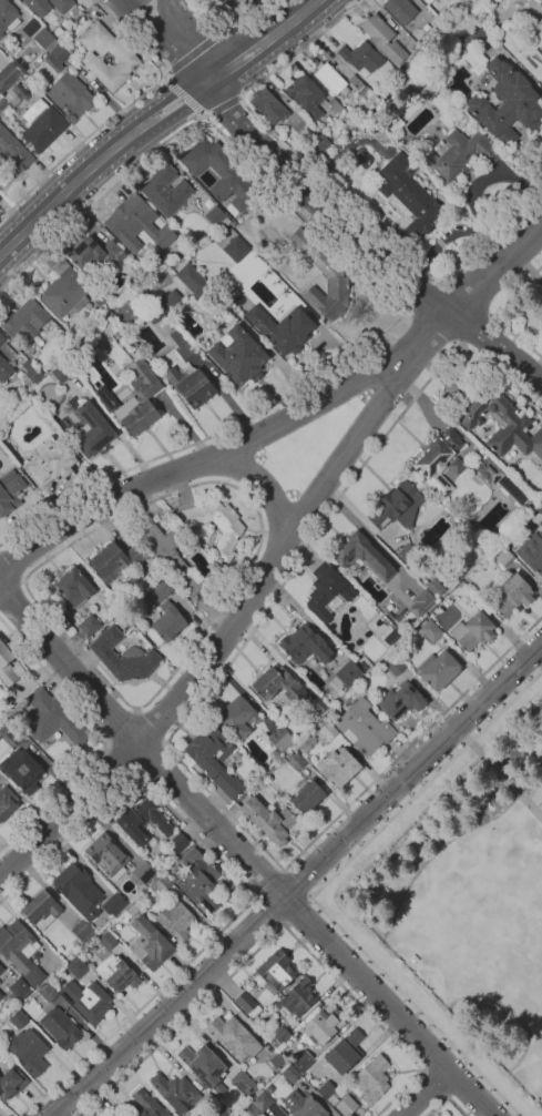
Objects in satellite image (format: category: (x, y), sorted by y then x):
road: (123, 0)
building: (224, 0)
building: (428, 1)
building: (61, 4)
building: (39, 7)
building: (400, 10)
building: (426, 11)
building: (8, 16)
road: (228, 28)
building: (428, 28)
road: (175, 29)
road: (222, 29)
building: (382, 38)
building: (44, 39)
road: (165, 44)
building: (525, 50)
road: (192, 54)
building: (418, 54)
building: (57, 57)
building: (125, 57)
building: (361, 58)
building: (20, 64)
building: (8, 75)
road: (163, 77)
building: (330, 78)
building: (358, 85)
building: (419, 87)
building: (500, 92)
building: (71, 94)
building: (305, 95)
road: (184, 97)
road: (239, 98)
building: (268, 105)
building: (334, 105)
road: (222, 106)
road: (120, 113)
road: (205, 116)
road: (152, 120)
building: (393, 122)
building: (42, 128)
building: (336, 141)
building: (319, 143)
building: (14, 151)
building: (458, 155)
building: (219, 173)
road: (330, 189)
building: (165, 190)
building: (407, 197)
building: (208, 203)
building: (215, 215)
building: (136, 224)
building: (300, 239)
road: (364, 245)
building: (234, 247)
building: (95, 253)
building: (192, 280)
road: (375, 284)
building: (329, 288)
building: (64, 291)
road: (420, 294)
road: (464, 297)
building: (143, 298)
building: (99, 300)
building: (168, 301)
building: (154, 314)
road: (492, 315)
building: (24, 319)
road: (431, 327)
building: (282, 328)
road: (474, 331)
building: (1, 338)
building: (182, 346)
building: (239, 356)
building: (4, 369)
building: (31, 371)
building: (62, 372)
road: (500, 377)
building: (191, 385)
building: (139, 399)
building: (502, 423)
building: (91, 430)
building: (438, 460)
road: (197, 461)
building: (51, 463)
building: (456, 465)
road: (224, 467)
building: (500, 479)
building: (10, 491)
building: (397, 506)
road: (280, 519)
building: (216, 525)
road: (309, 542)
building: (532, 551)
road: (278, 552)
building: (405, 554)
building: (171, 555)
building: (365, 556)
building: (502, 556)
building: (114, 560)
road: (12, 568)
road: (241, 576)
building: (73, 587)
building: (431, 588)
road: (11, 591)
building: (157, 591)
building: (327, 591)
building: (512, 596)
building: (166, 601)
building: (419, 602)
building: (471, 620)
building: (168, 621)
building: (89, 625)
building: (430, 631)
building: (390, 637)
building: (305, 645)
building: (122, 657)
building: (395, 666)
building: (6, 667)
building: (362, 667)
building: (438, 669)
building: (348, 673)
building: (277, 683)
building: (401, 701)
building: (316, 707)
building: (262, 708)
building: (237, 717)
building: (52, 719)
road: (121, 726)
road: (152, 726)
building: (364, 727)
building: (328, 731)
building: (16, 735)
road: (102, 738)
building: (280, 739)
road: (117, 759)
building: (214, 759)
road: (153, 761)
building: (296, 761)
building: (337, 767)
building: (22, 770)
road: (505, 780)
building: (260, 783)
building: (308, 799)
building: (7, 802)
road: (351, 803)
building: (269, 820)
building: (142, 821)
building: (177, 842)
building: (106, 853)
road: (241, 855)
building: (142, 873)
building: (200, 880)
road: (269, 882)
road: (297, 882)
building: (161, 883)
road: (244, 883)
road: (301, 885)
road: (315, 887)
building: (79, 889)
park: (464, 897)
building: (115, 904)
building: (41, 910)
building: (132, 910)
road: (268, 910)
road: (297, 911)
building: (176, 920)
road: (276, 929)
building: (83, 930)
building: (108, 941)
building: (149, 943)
building: (20, 950)
building: (78, 967)
building: (1, 968)
building: (276, 971)
building: (117, 973)
building: (20, 987)
building: (48, 992)
building: (1, 996)
building: (298, 996)
building: (88, 1000)
building: (247, 1004)
building: (19, 1019)
building: (324, 1023)
building: (61, 1027)
building: (279, 1035)
building: (234, 1036)
building: (29, 1049)
building: (345, 1052)
building: (276, 1058)
building: (304, 1062)
building: (204, 1066)
building: (289, 1073)
building: (372, 1078)
building: (11, 1082)
building: (243, 1083)
road: (433, 1084)
building: (326, 1089)
building: (176, 1092)
road: (426, 1093)
road: (444, 1096)
building: (333, 1099)
building: (258, 1103)
building: (147, 1105)
building: (304, 1105)
building: (347, 1105)
building: (219, 1110)
building: (111, 1115)

